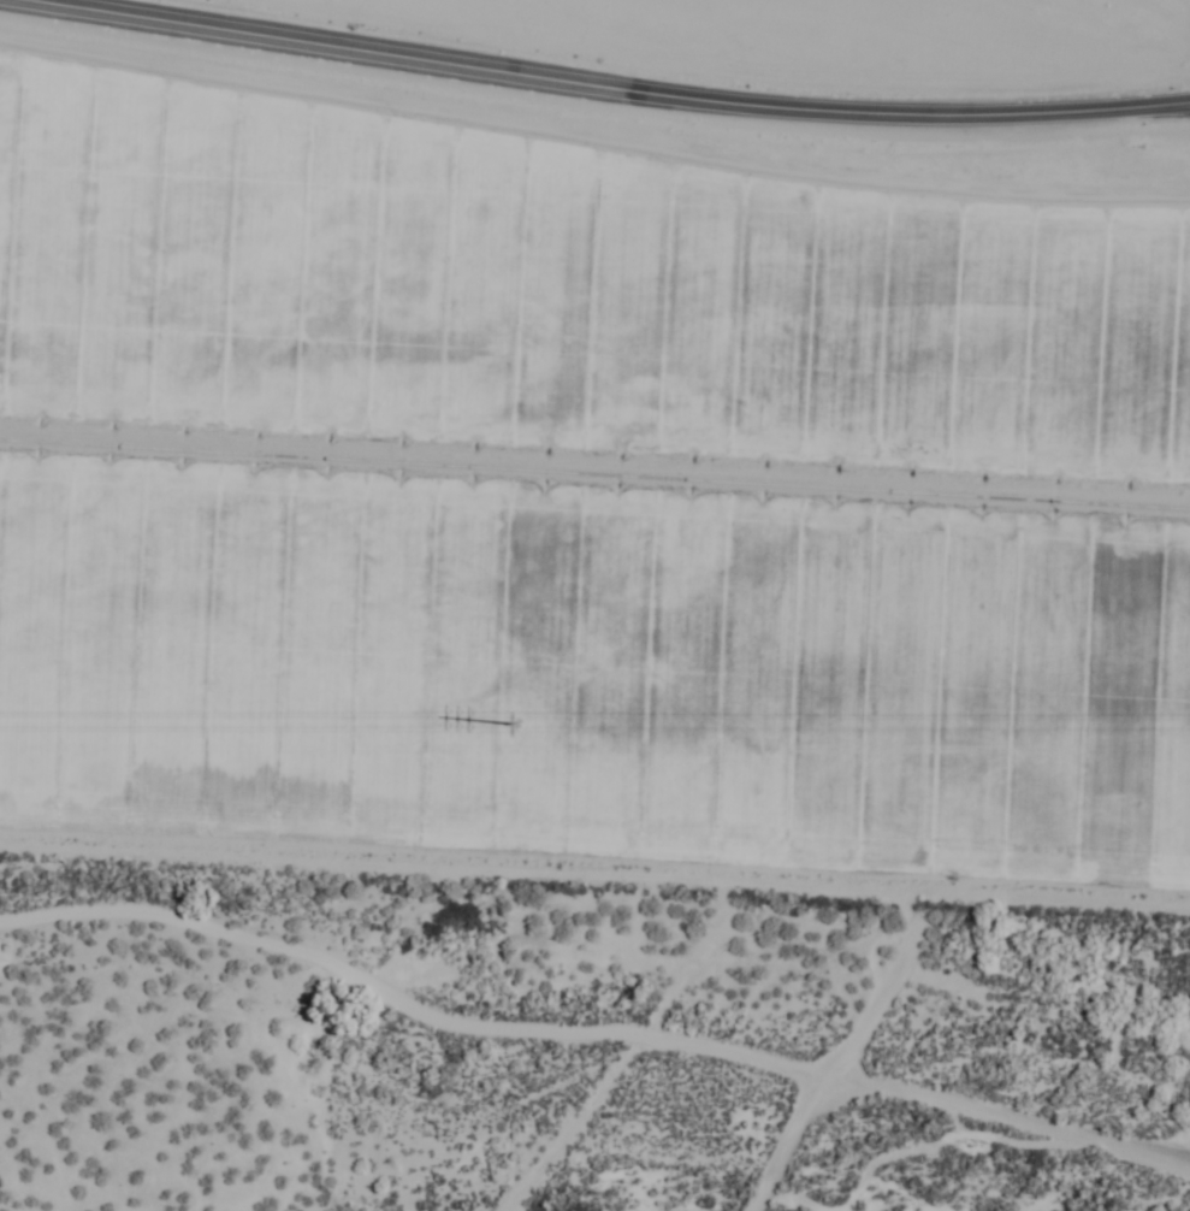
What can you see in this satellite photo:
road: (592, 89)
power tower: (520, 723)

